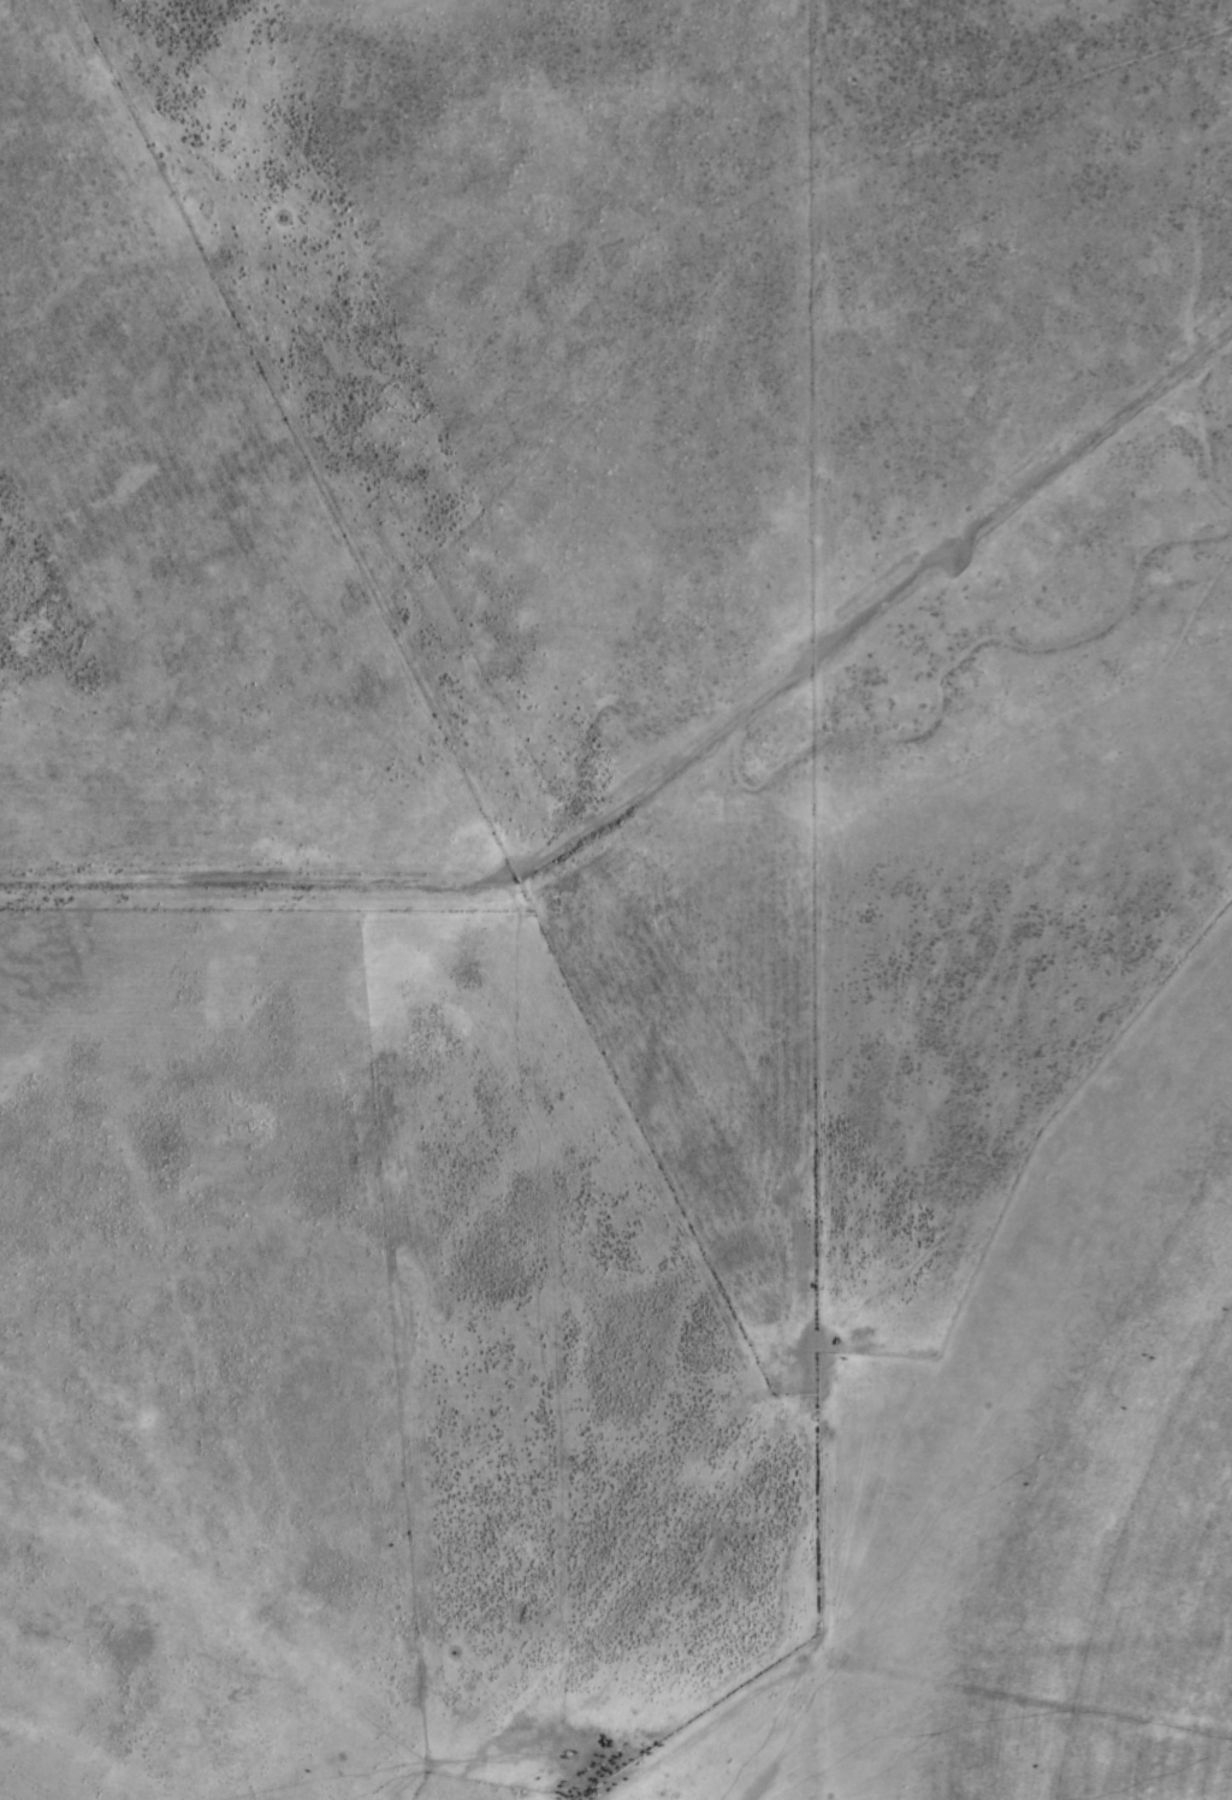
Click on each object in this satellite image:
crop: (616, 899)

